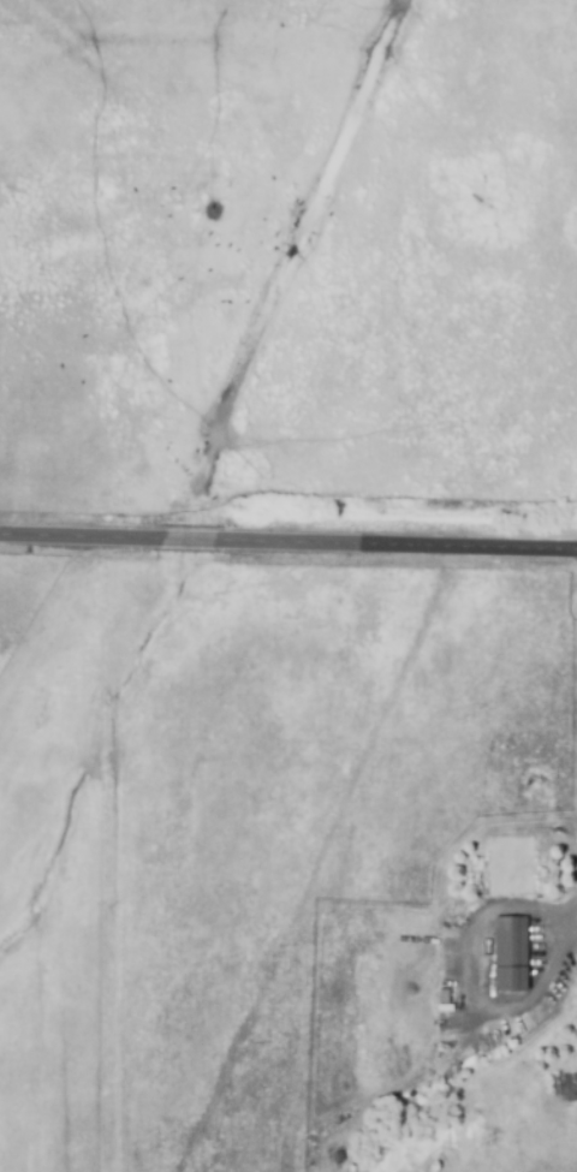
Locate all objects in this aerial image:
road: (288, 534)
road: (569, 916)
road: (573, 923)
building: (510, 953)

